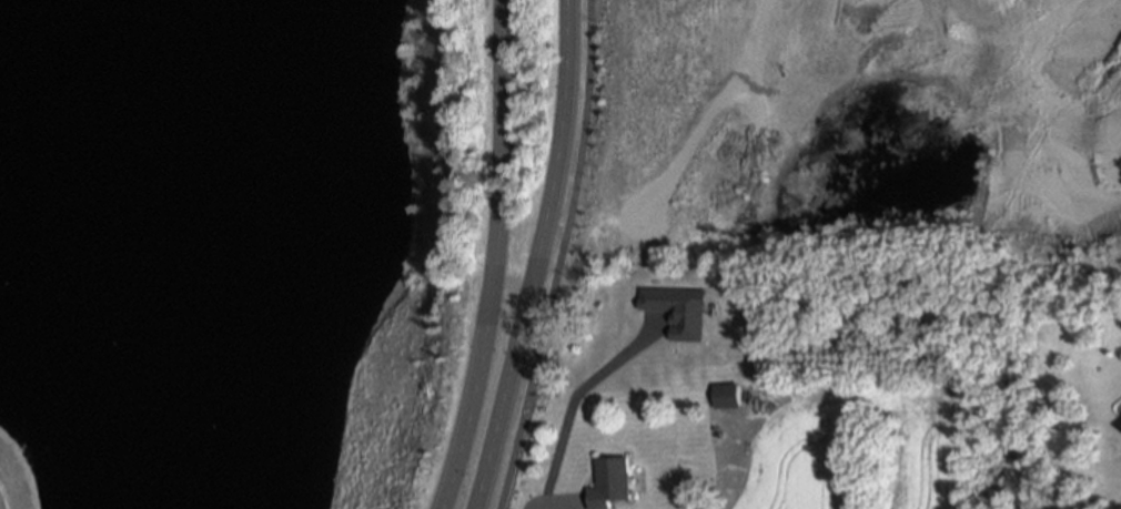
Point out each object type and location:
quarry: (560, 147)
road: (494, 256)
road: (535, 256)
road: (559, 256)
building: (603, 343)
building: (642, 367)
building: (610, 482)

